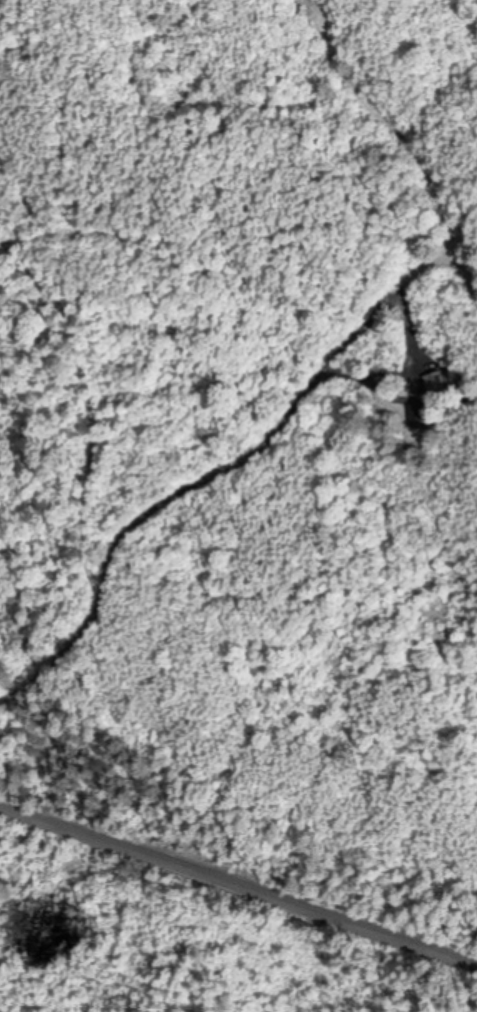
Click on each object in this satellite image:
road: (238, 889)

